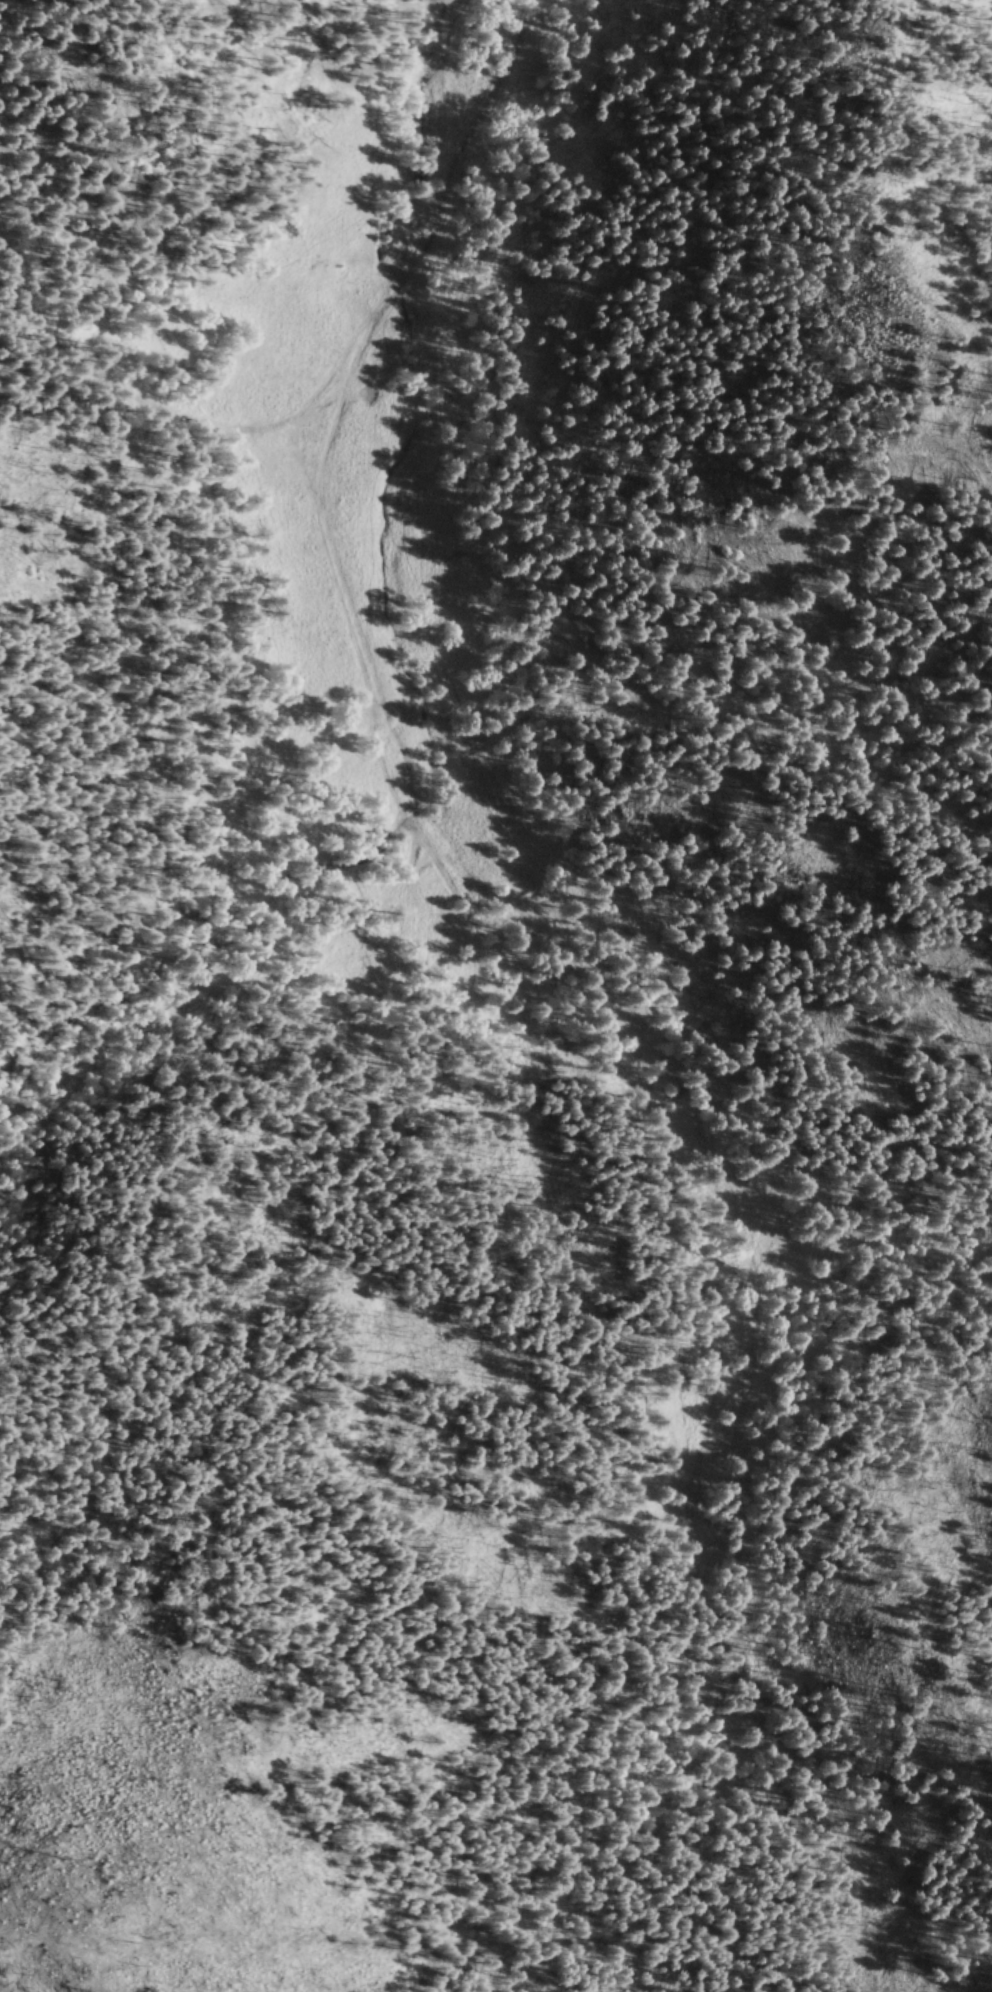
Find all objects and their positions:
road: (477, 123)

